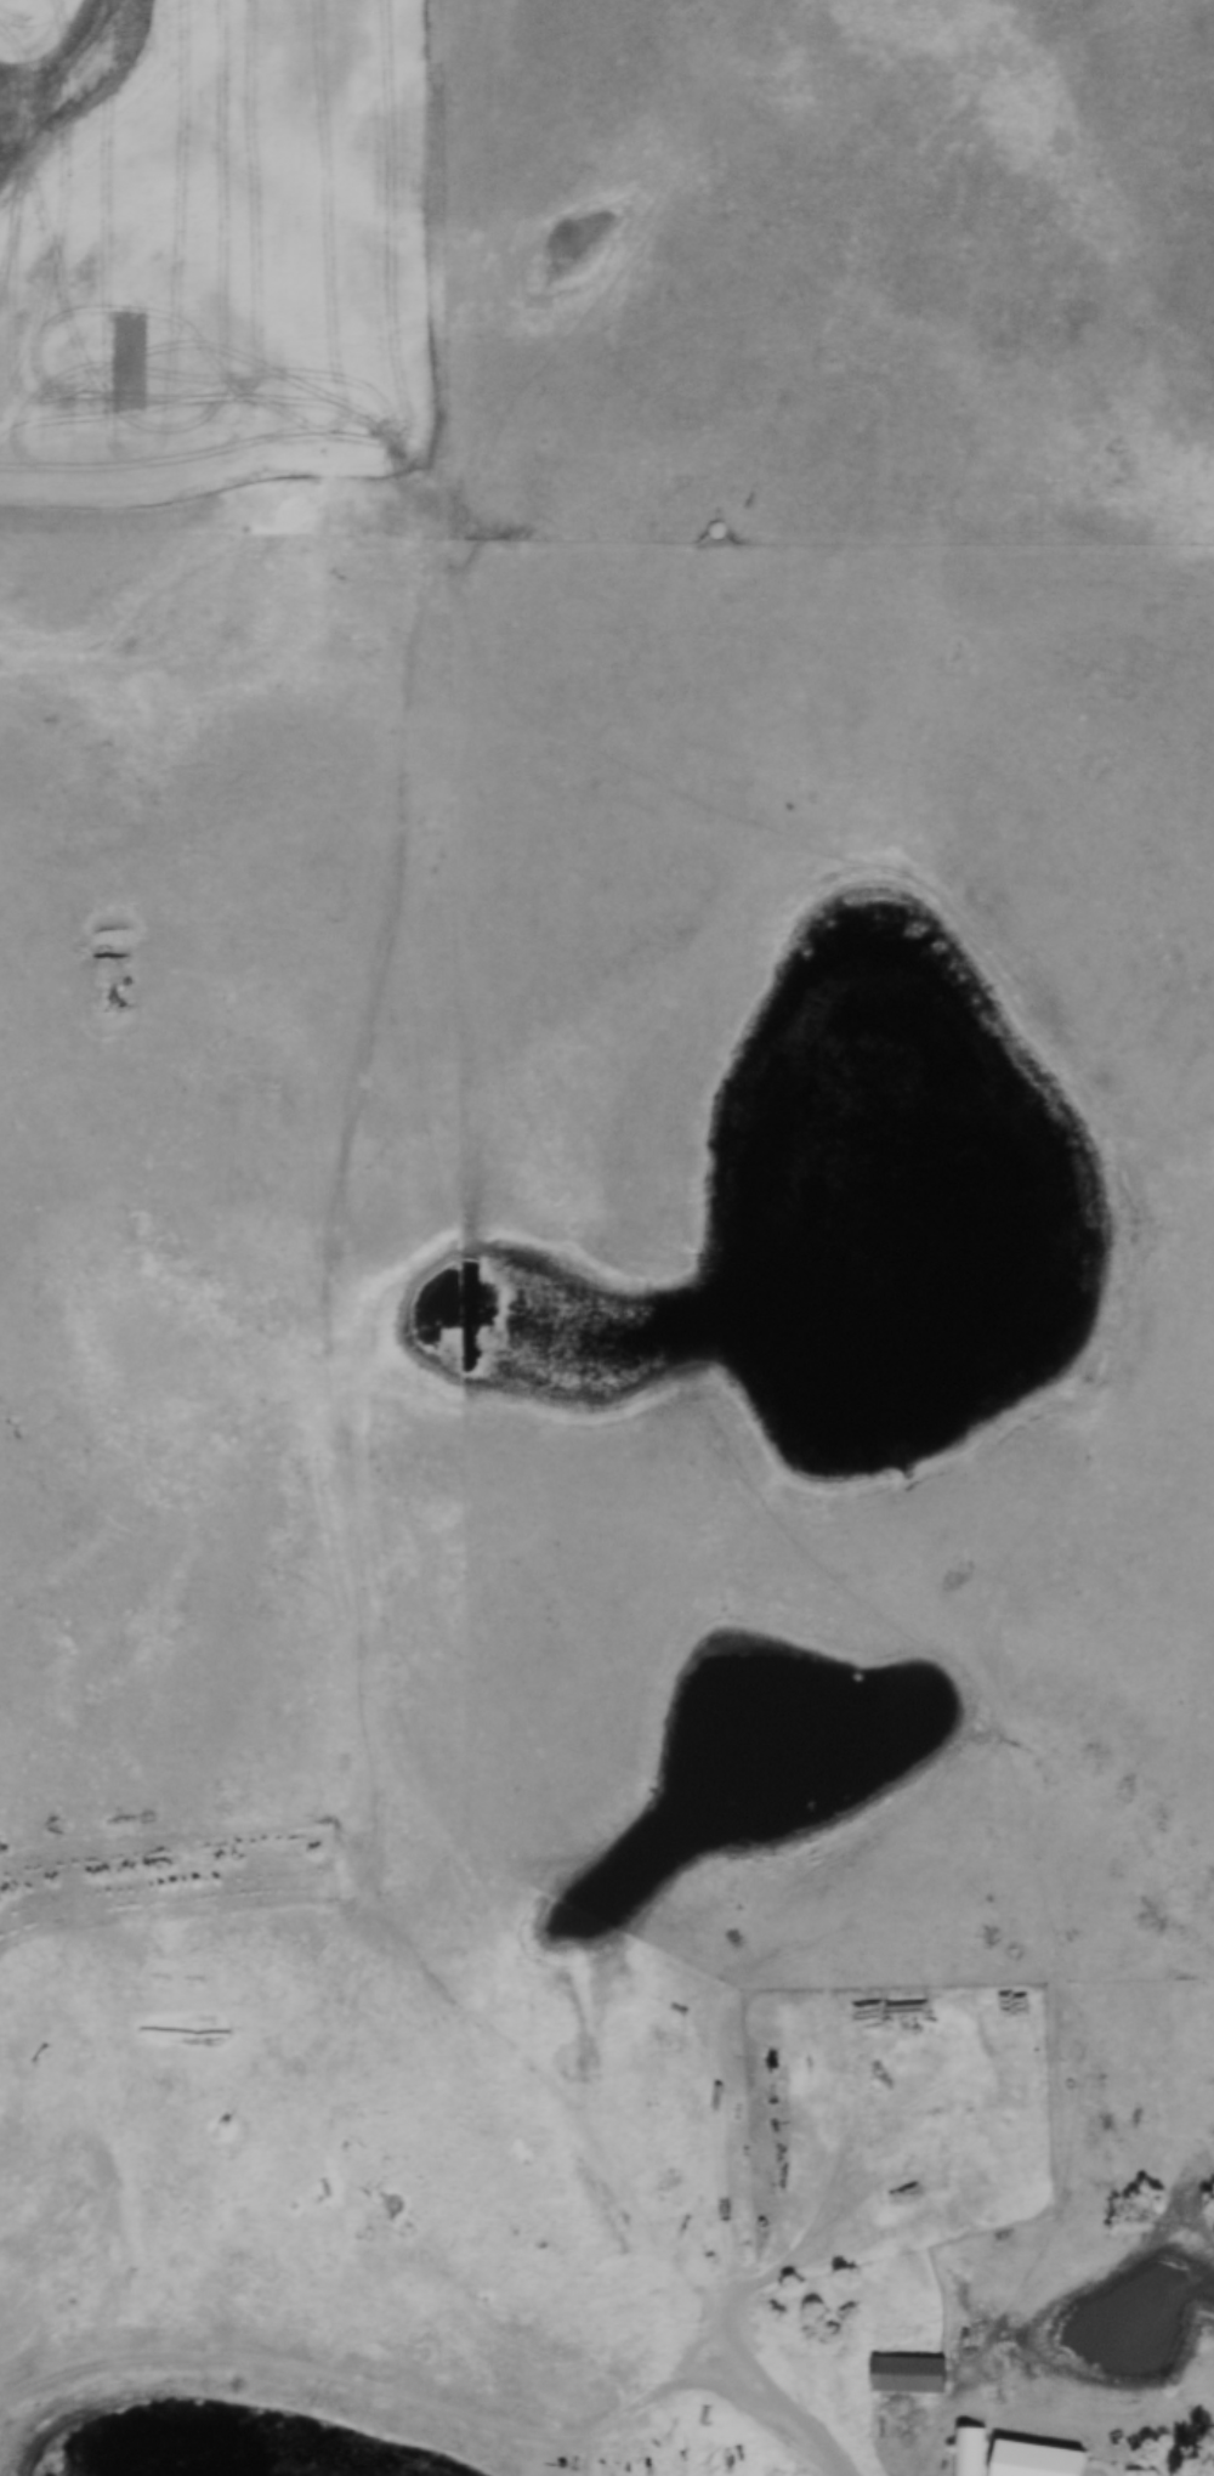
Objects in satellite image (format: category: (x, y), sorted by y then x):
road: (756, 2289)
building: (900, 2374)
road: (388, 2398)
building: (1034, 2460)

